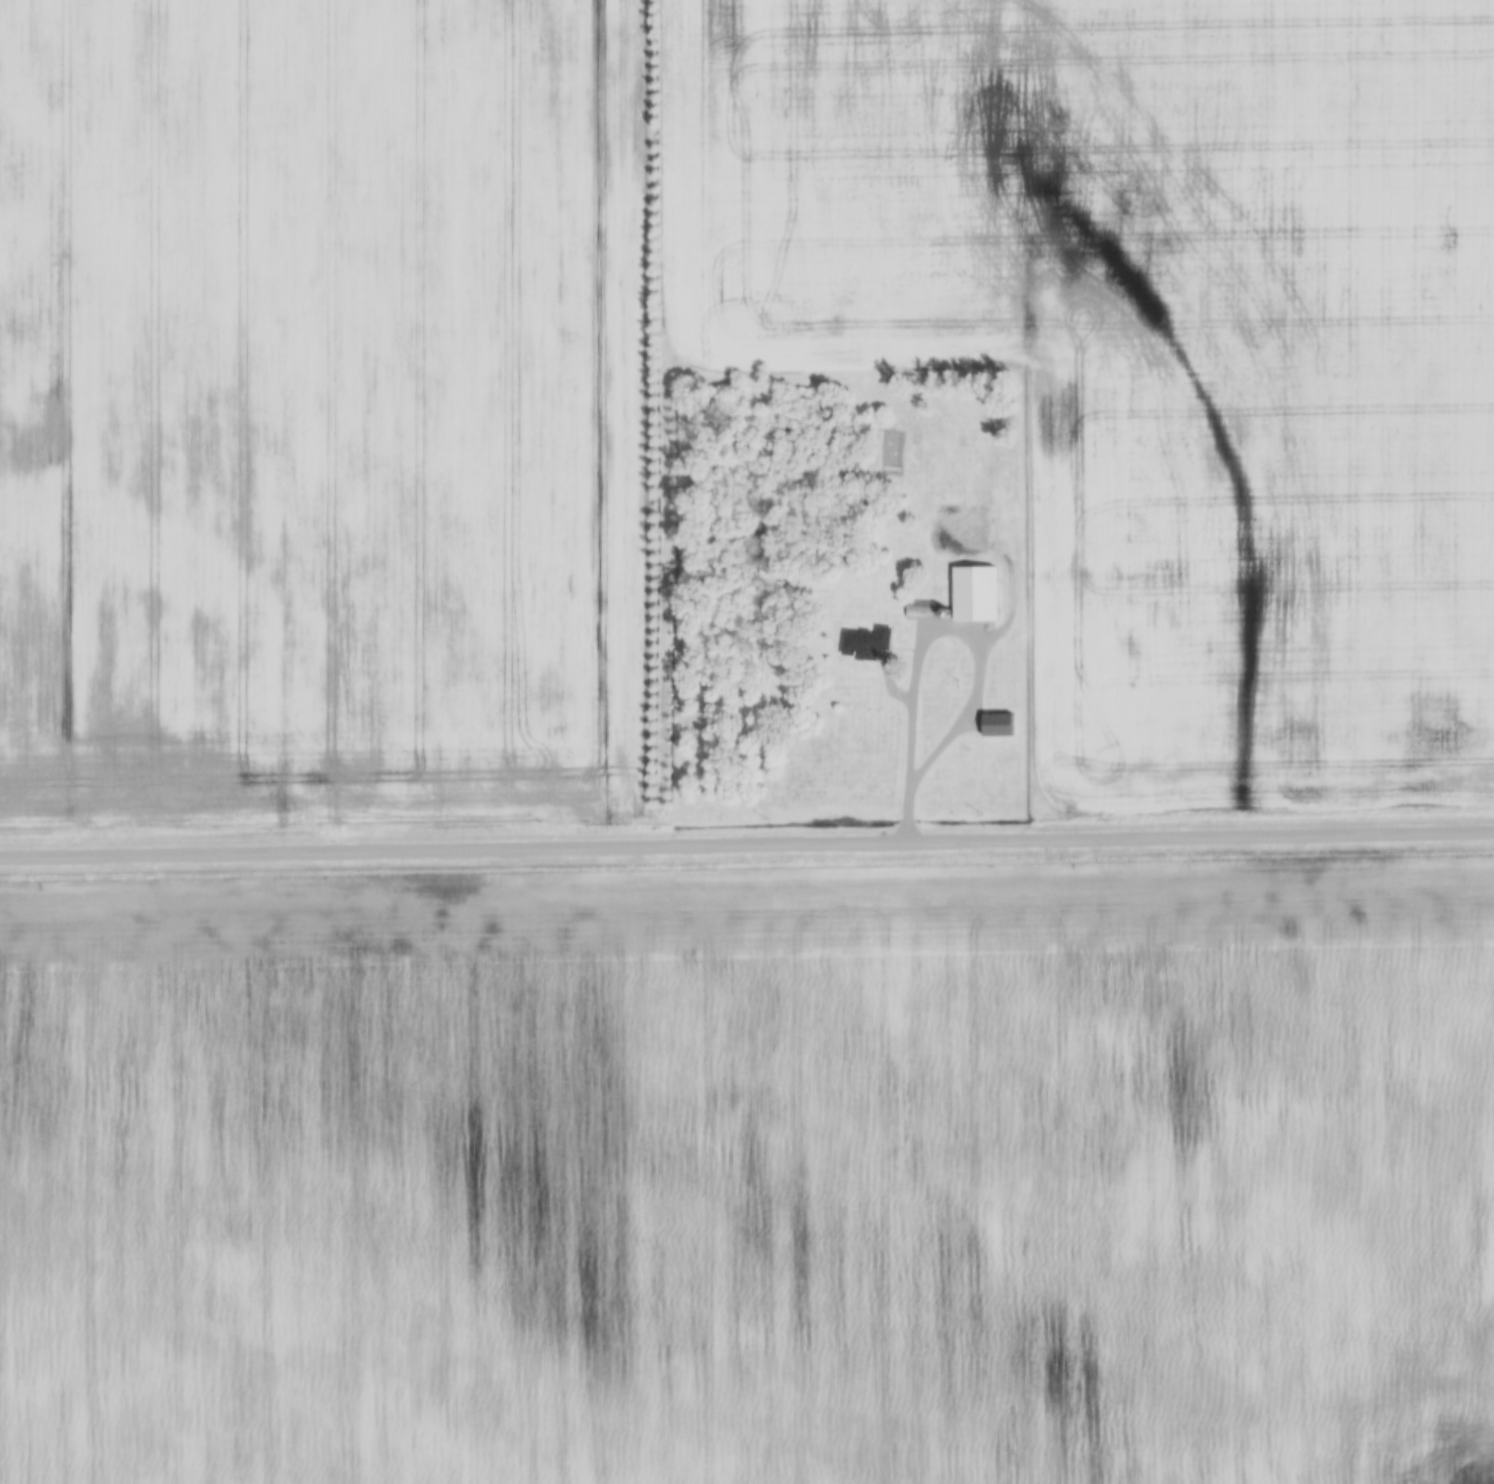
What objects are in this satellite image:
building: (980, 596)
road: (937, 640)
building: (868, 645)
building: (1004, 727)
road: (746, 848)

